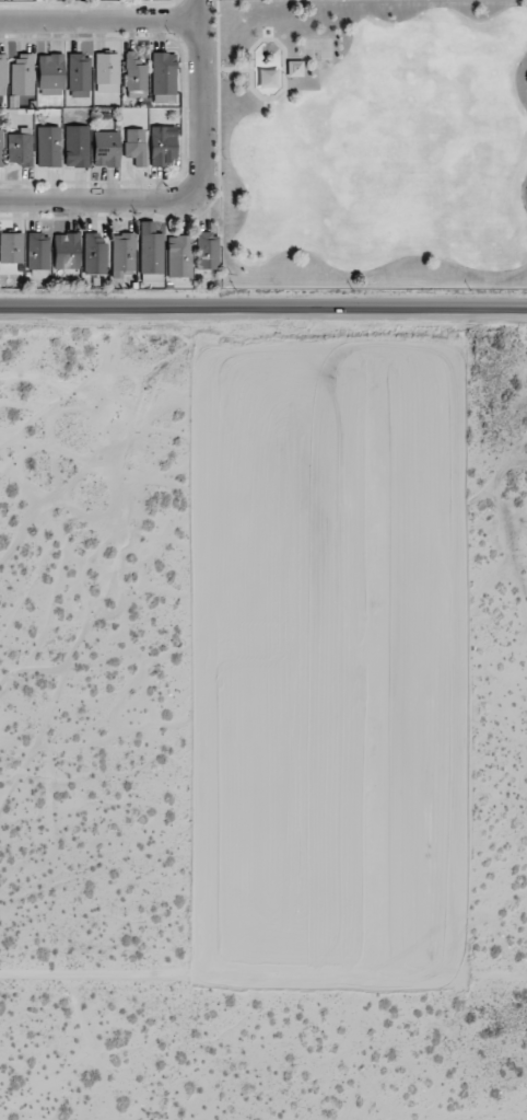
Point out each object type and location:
road: (101, 16)
building: (2, 71)
building: (106, 72)
building: (134, 72)
building: (22, 74)
building: (50, 74)
building: (79, 76)
building: (163, 77)
road: (199, 100)
park: (371, 142)
building: (48, 146)
building: (77, 146)
building: (134, 146)
building: (163, 146)
building: (20, 147)
building: (1, 149)
building: (106, 149)
road: (94, 200)
building: (11, 247)
building: (207, 250)
building: (37, 251)
building: (66, 251)
building: (94, 253)
building: (150, 253)
building: (122, 255)
building: (179, 256)
road: (263, 311)

